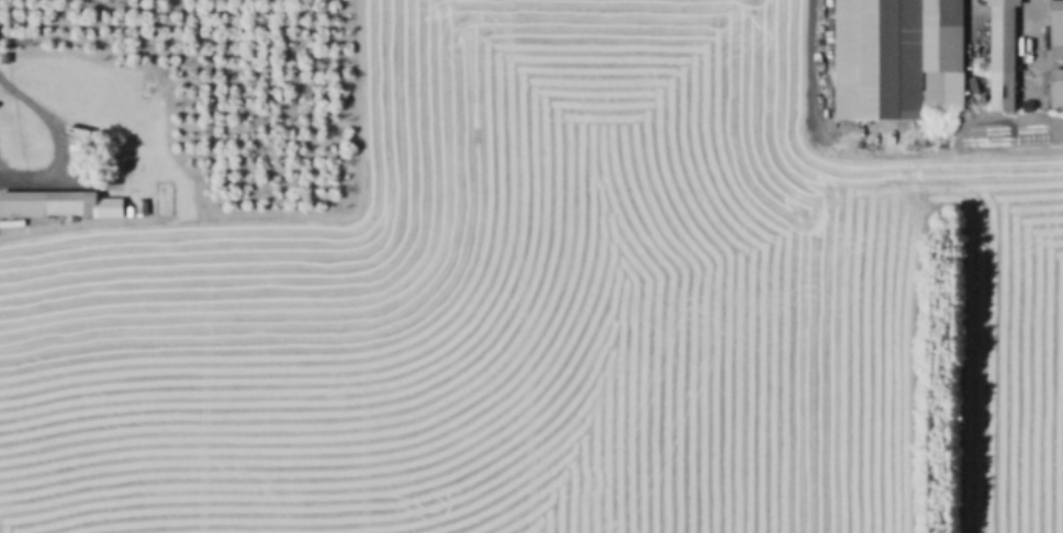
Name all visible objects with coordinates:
building: (1055, 34)
road: (1037, 49)
building: (1000, 55)
building: (898, 57)
road: (816, 73)
building: (1055, 90)
road: (55, 143)
building: (167, 199)
building: (41, 202)
building: (102, 205)
crop: (553, 308)

